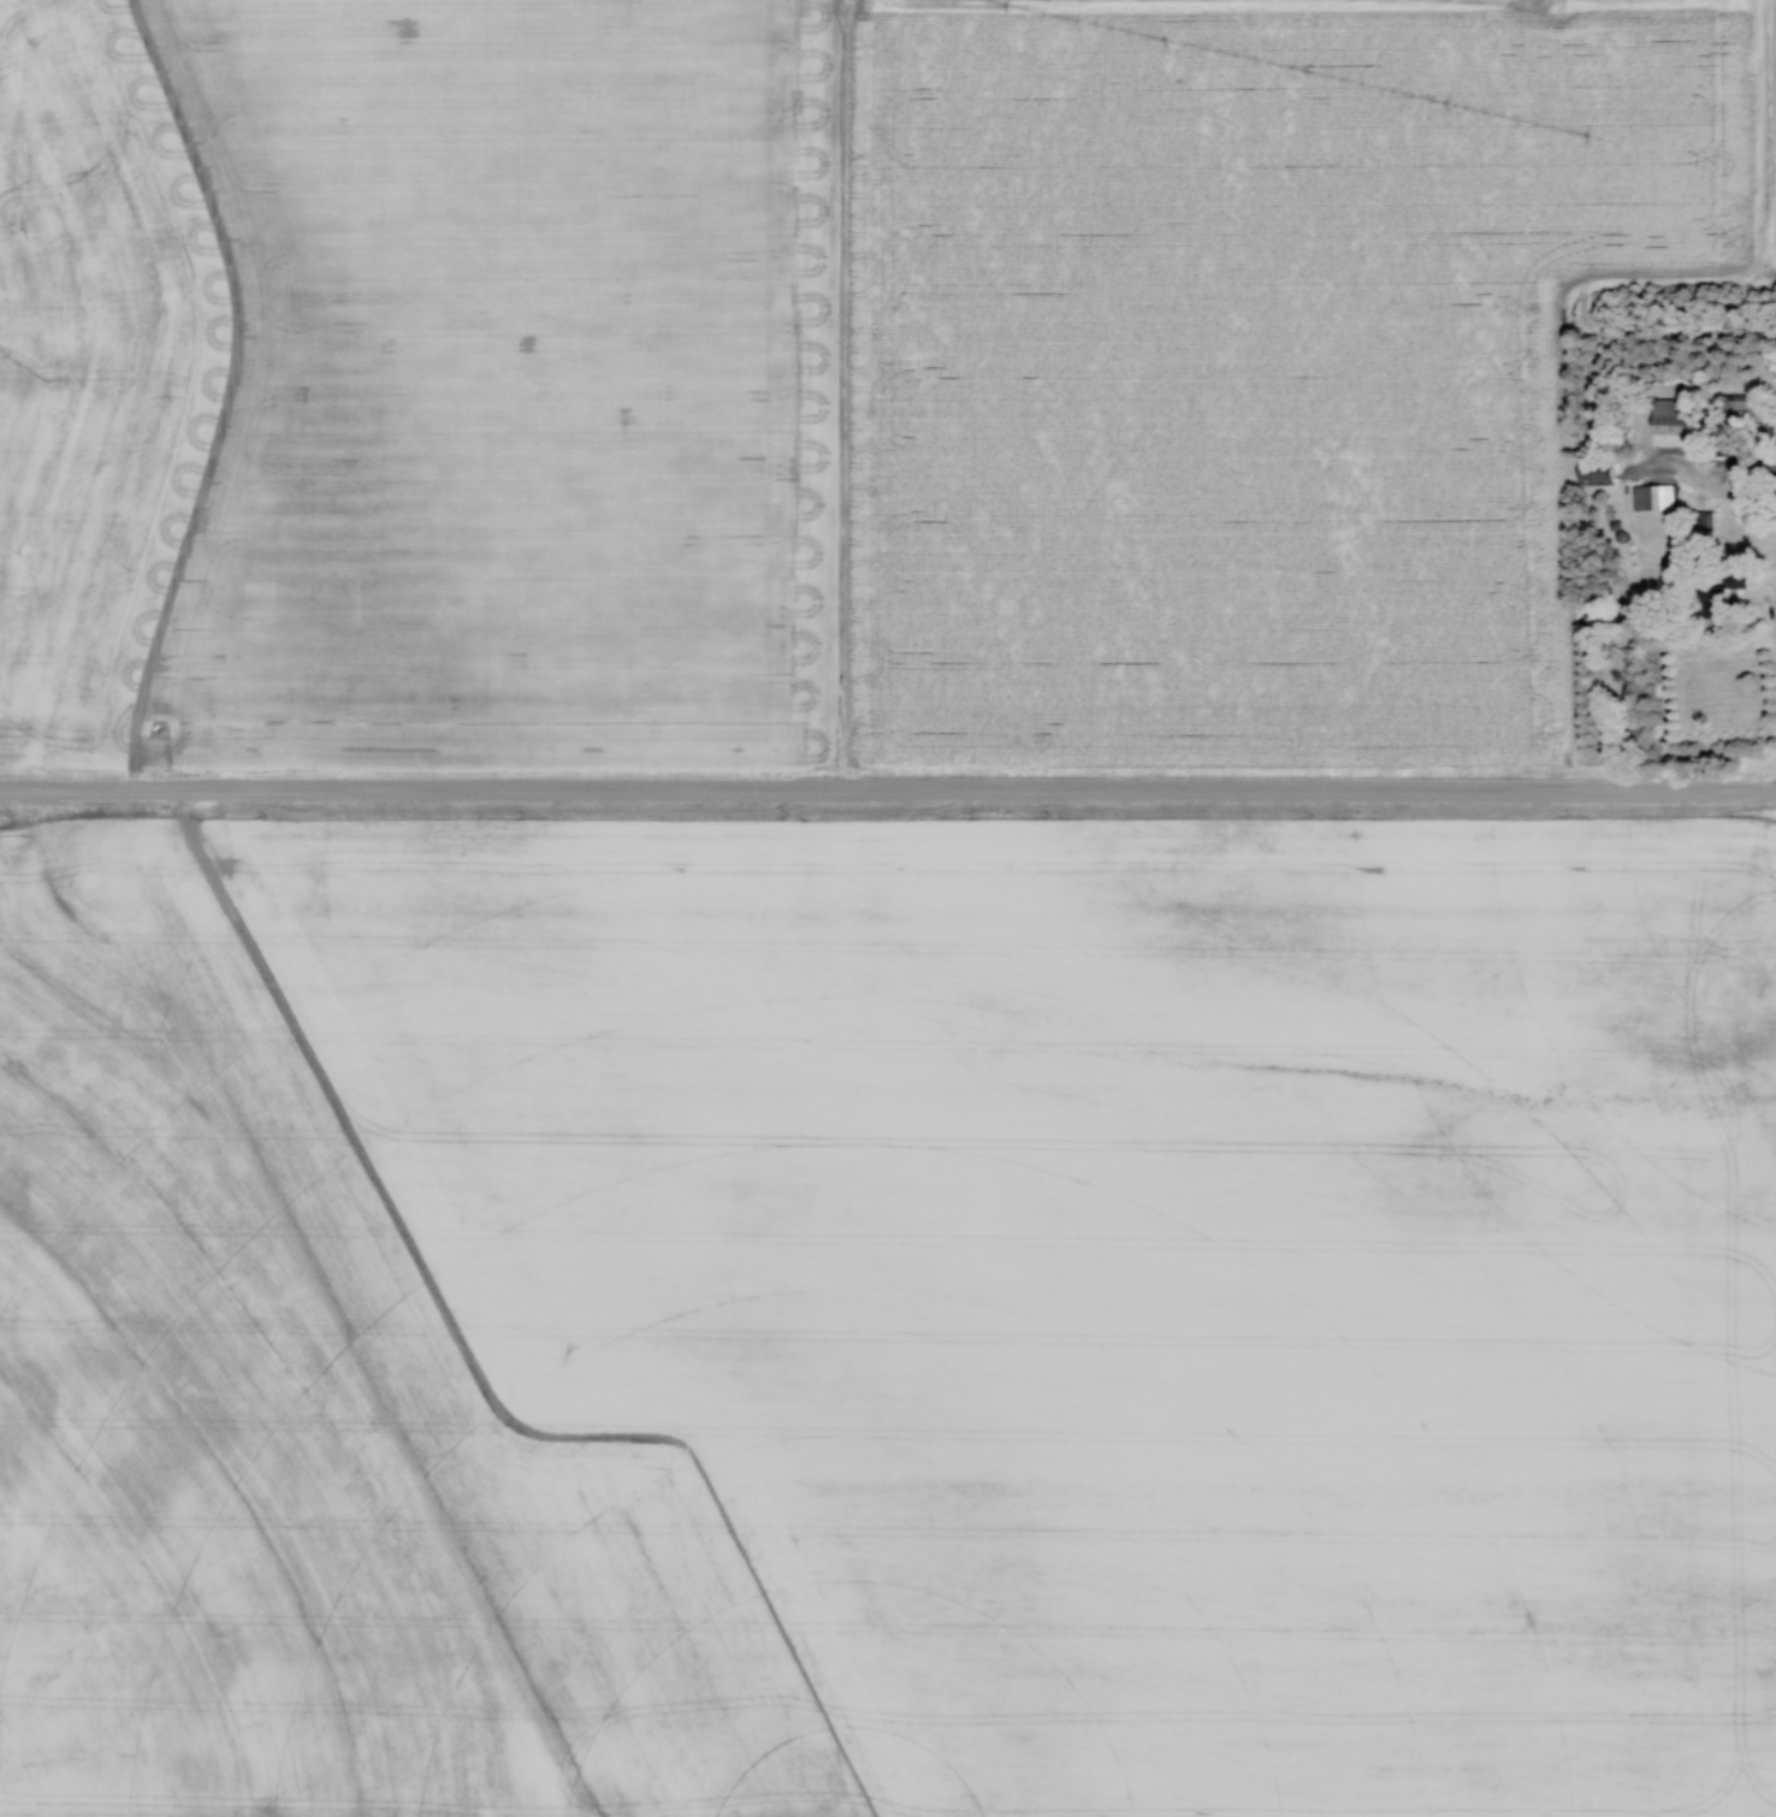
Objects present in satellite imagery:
road: (235, 390)
building: (1741, 404)
building: (1676, 424)
building: (1597, 474)
road: (1728, 489)
building: (1656, 498)
building: (1706, 521)
building: (1718, 602)
road: (888, 791)

